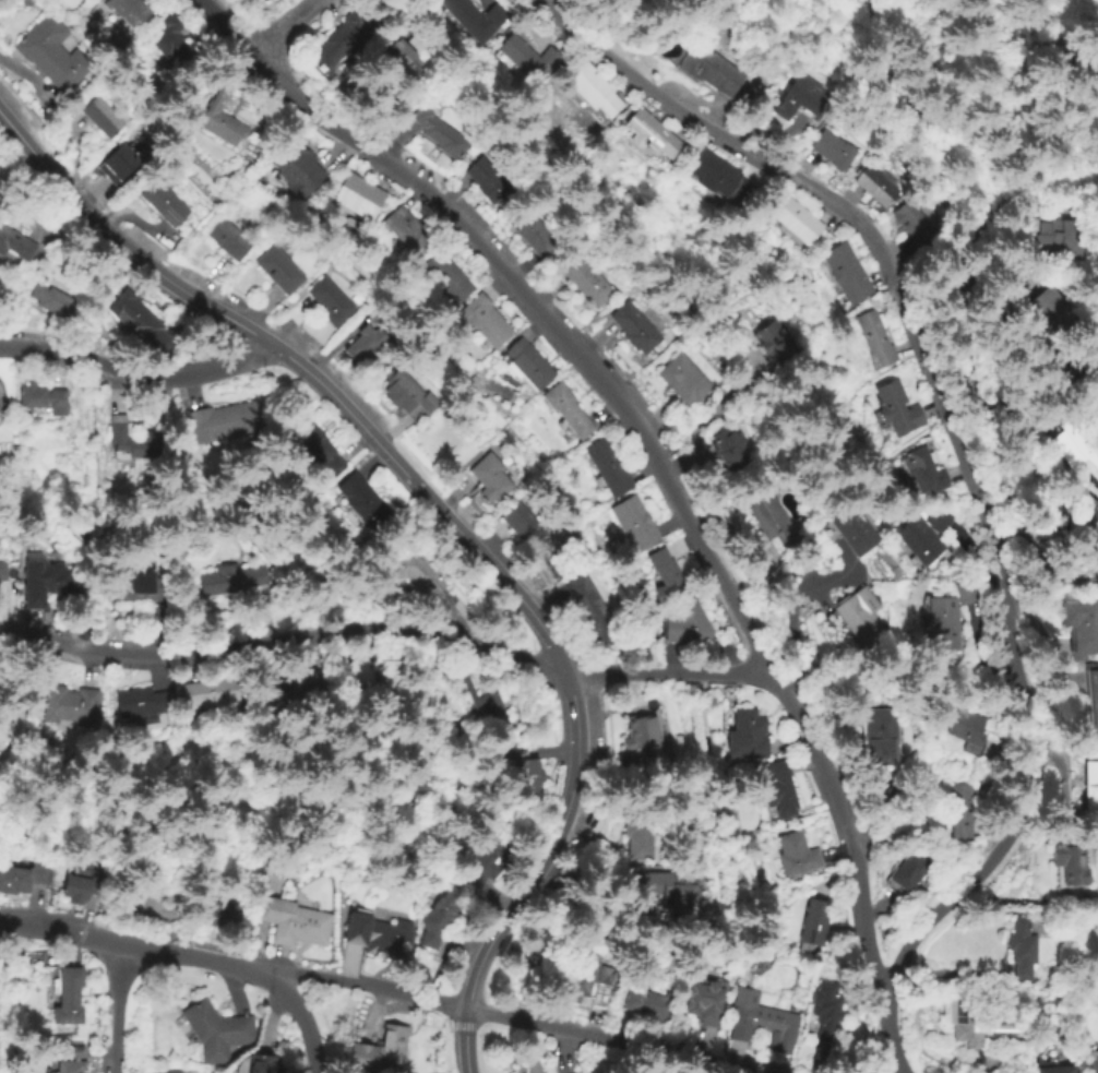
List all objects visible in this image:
building: (261, 0)
building: (265, 0)
road: (404, 10)
building: (129, 12)
building: (472, 19)
road: (287, 25)
building: (342, 38)
building: (172, 40)
building: (51, 53)
building: (409, 57)
building: (527, 62)
building: (712, 72)
building: (592, 96)
building: (800, 98)
road: (920, 108)
building: (102, 118)
building: (222, 126)
building: (438, 133)
building: (652, 138)
building: (831, 150)
building: (115, 162)
building: (298, 172)
building: (489, 182)
building: (723, 183)
building: (875, 187)
building: (359, 198)
road: (826, 198)
road: (1018, 199)
building: (164, 203)
building: (910, 223)
building: (796, 226)
building: (408, 231)
building: (535, 236)
building: (1054, 238)
building: (228, 241)
building: (15, 245)
building: (278, 273)
building: (847, 275)
building: (445, 281)
building: (584, 281)
building: (359, 298)
building: (53, 300)
building: (330, 303)
building: (1053, 314)
building: (485, 322)
building: (142, 324)
building: (635, 331)
road: (190, 334)
building: (874, 341)
building: (773, 344)
building: (366, 346)
road: (965, 359)
building: (530, 366)
road: (135, 373)
building: (682, 380)
building: (409, 400)
building: (41, 402)
building: (896, 412)
building: (568, 413)
road: (701, 419)
building: (225, 421)
road: (635, 430)
building: (132, 439)
building: (508, 439)
building: (315, 445)
building: (1074, 446)
building: (731, 454)
building: (608, 468)
building: (924, 474)
building: (491, 479)
building: (362, 502)
building: (772, 522)
building: (633, 524)
road: (451, 525)
building: (524, 525)
building: (850, 530)
building: (923, 535)
building: (1066, 536)
building: (551, 563)
building: (1091, 563)
building: (3, 573)
building: (416, 573)
building: (666, 576)
building: (231, 581)
building: (46, 583)
building: (139, 586)
building: (966, 592)
road: (800, 597)
building: (590, 609)
building: (856, 616)
building: (1081, 624)
building: (688, 625)
building: (942, 625)
road: (283, 640)
road: (668, 660)
road: (670, 673)
building: (368, 676)
building: (288, 687)
building: (206, 694)
building: (1090, 698)
building: (478, 702)
building: (68, 706)
building: (136, 706)
building: (10, 725)
building: (641, 731)
building: (966, 731)
building: (747, 735)
building: (878, 737)
building: (648, 754)
road: (1037, 770)
building: (525, 778)
building: (1090, 785)
building: (777, 790)
building: (959, 814)
building: (640, 837)
building: (796, 856)
building: (482, 860)
building: (1071, 866)
building: (905, 873)
building: (24, 878)
building: (82, 887)
building: (671, 891)
building: (158, 903)
road: (875, 911)
building: (440, 916)
building: (227, 918)
building: (294, 923)
building: (814, 928)
building: (378, 935)
building: (1022, 951)
building: (582, 973)
road: (377, 989)
building: (68, 998)
building: (704, 1003)
building: (648, 1006)
road: (110, 1009)
building: (825, 1011)
building: (965, 1020)
road: (306, 1023)
building: (761, 1023)
road: (890, 1029)
building: (217, 1033)
road: (562, 1048)
building: (379, 1050)
building: (75, 1060)
building: (1093, 1061)
building: (265, 1063)
building: (530, 1066)
road: (692, 1066)
building: (1052, 1068)
building: (164, 1071)

